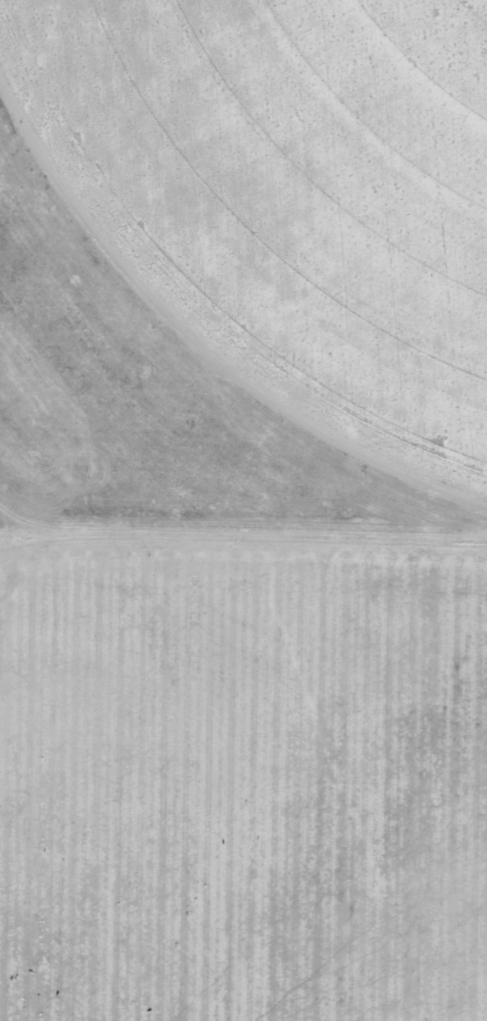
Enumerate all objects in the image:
crop: (243, 510)

